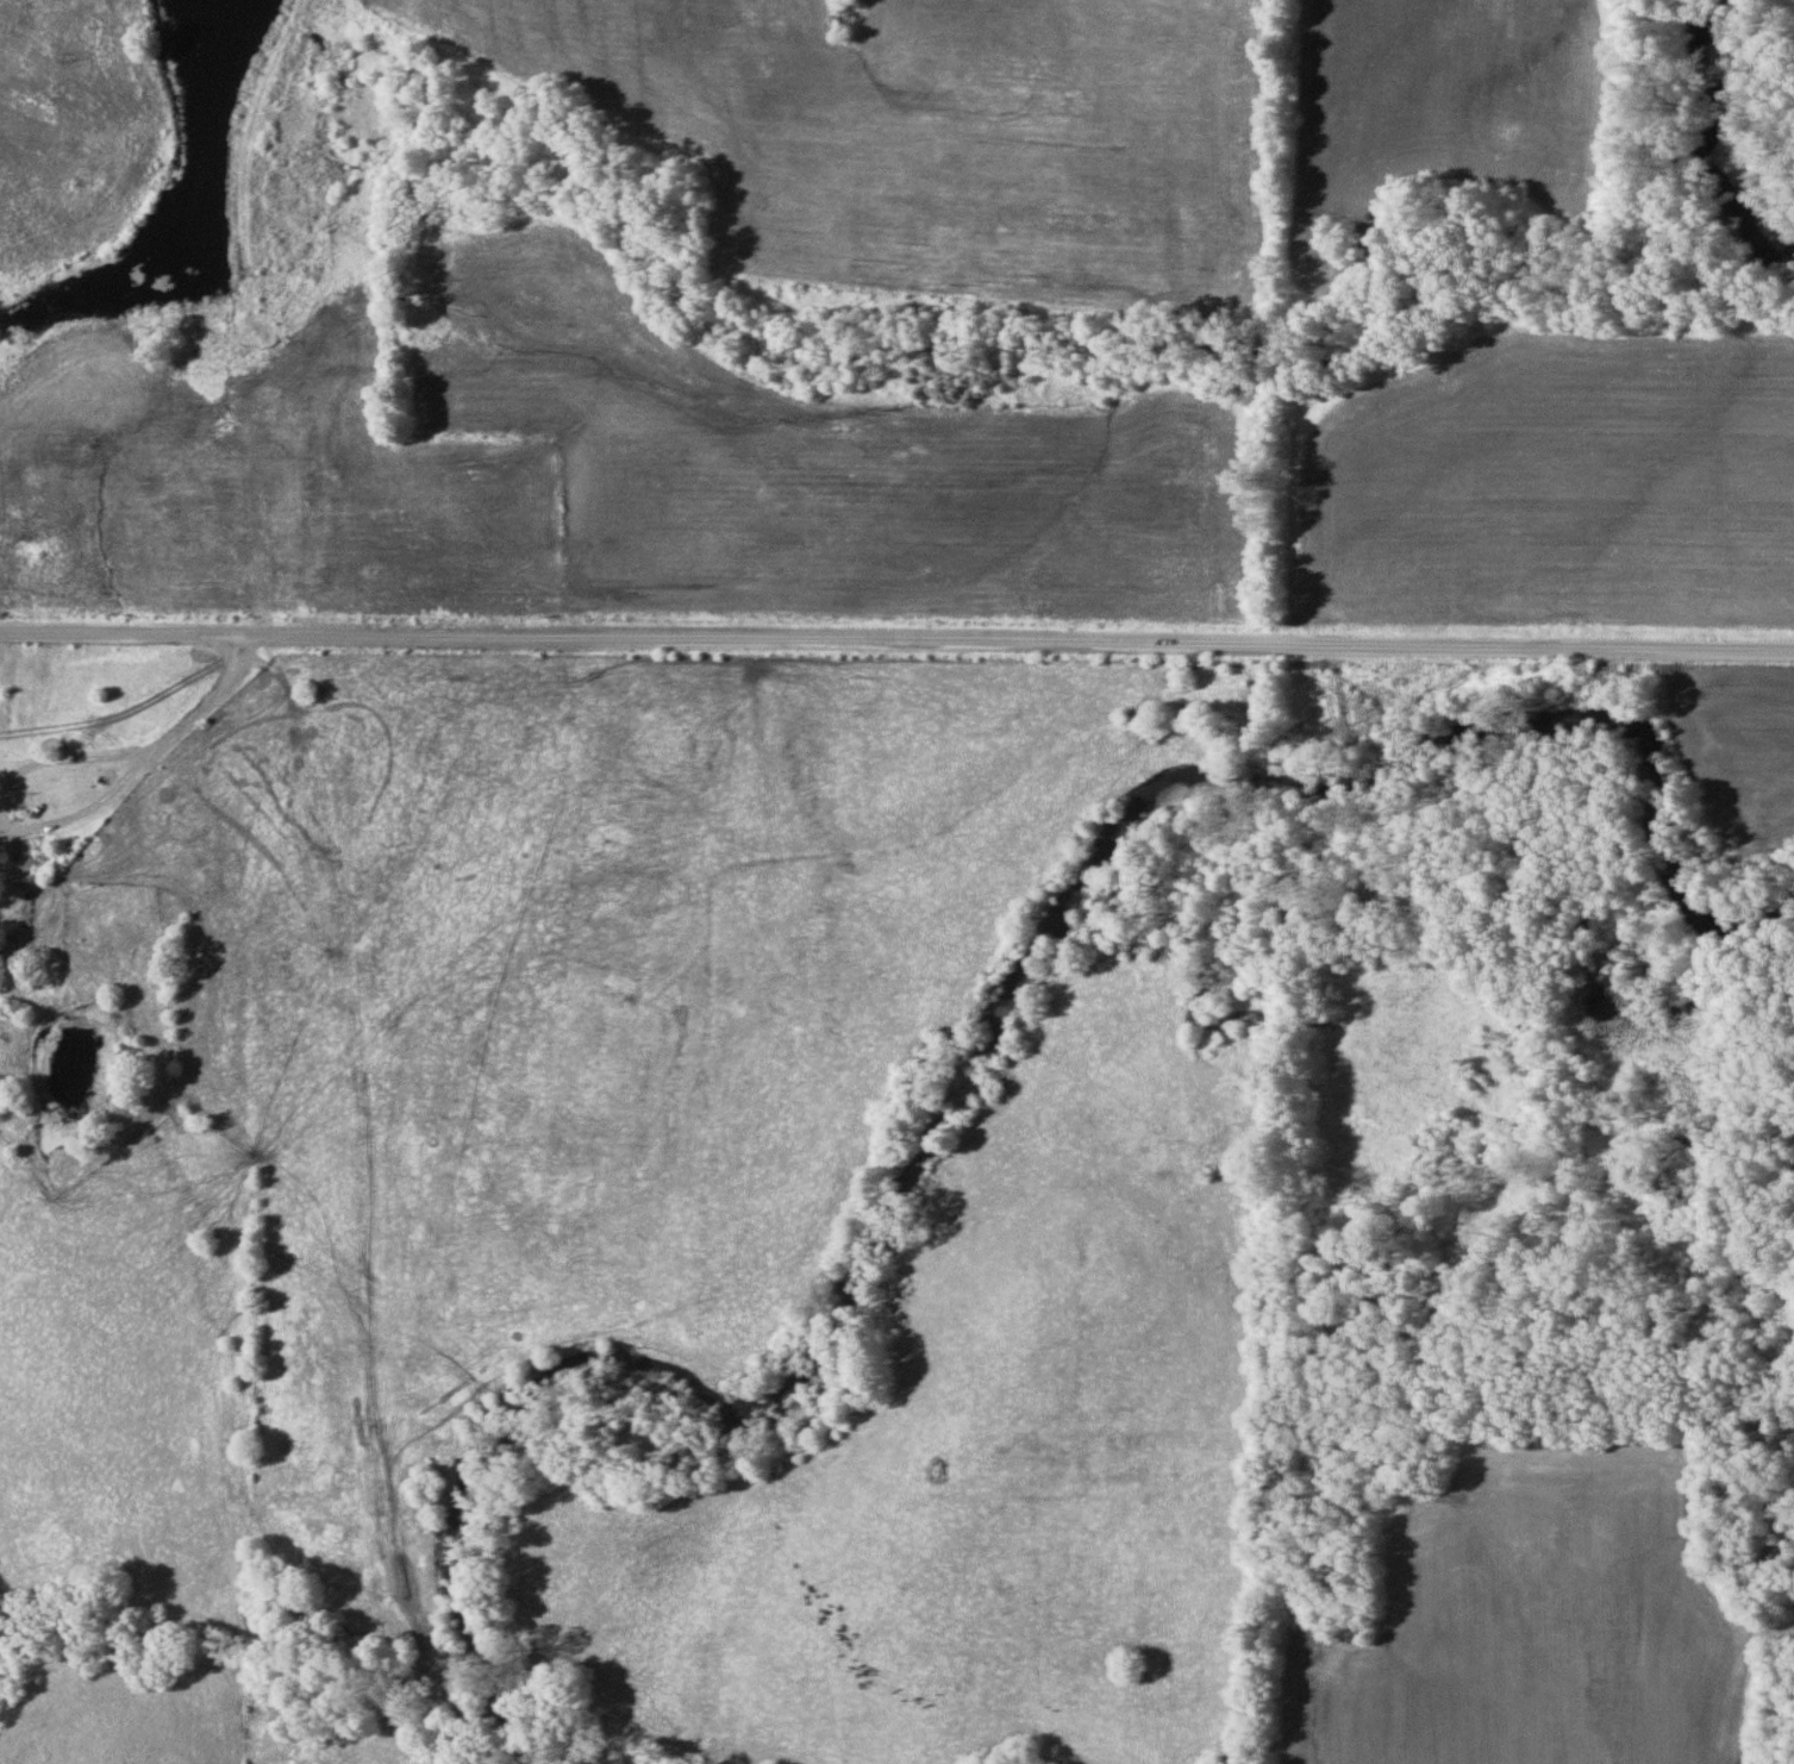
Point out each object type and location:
river: (1721, 136)
road: (123, 633)
road: (1020, 638)
road: (199, 706)
road: (123, 770)
river: (957, 1050)

